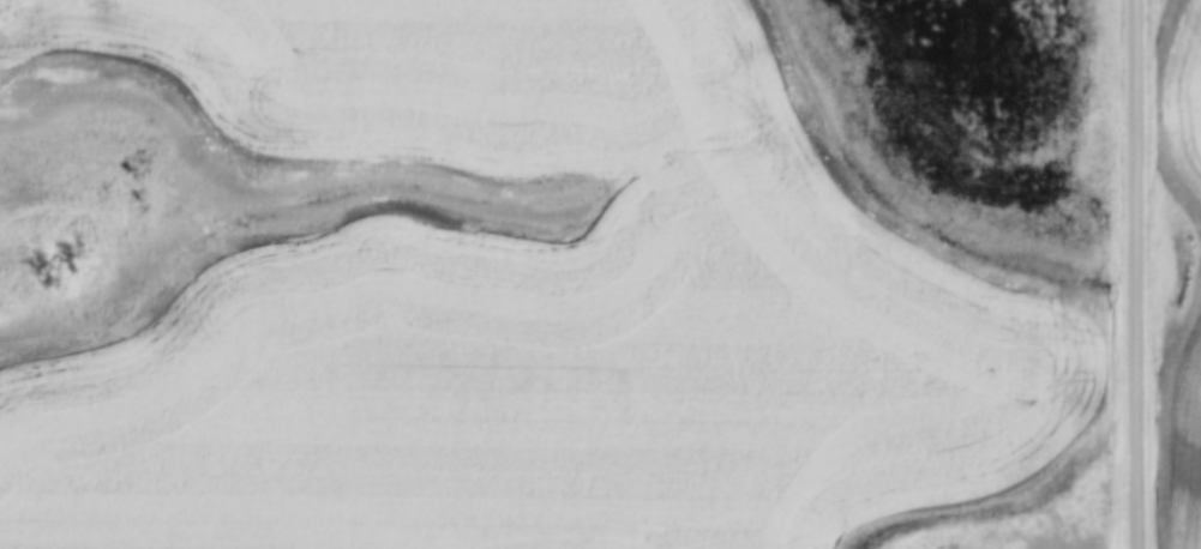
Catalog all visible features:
road: (1139, 273)

